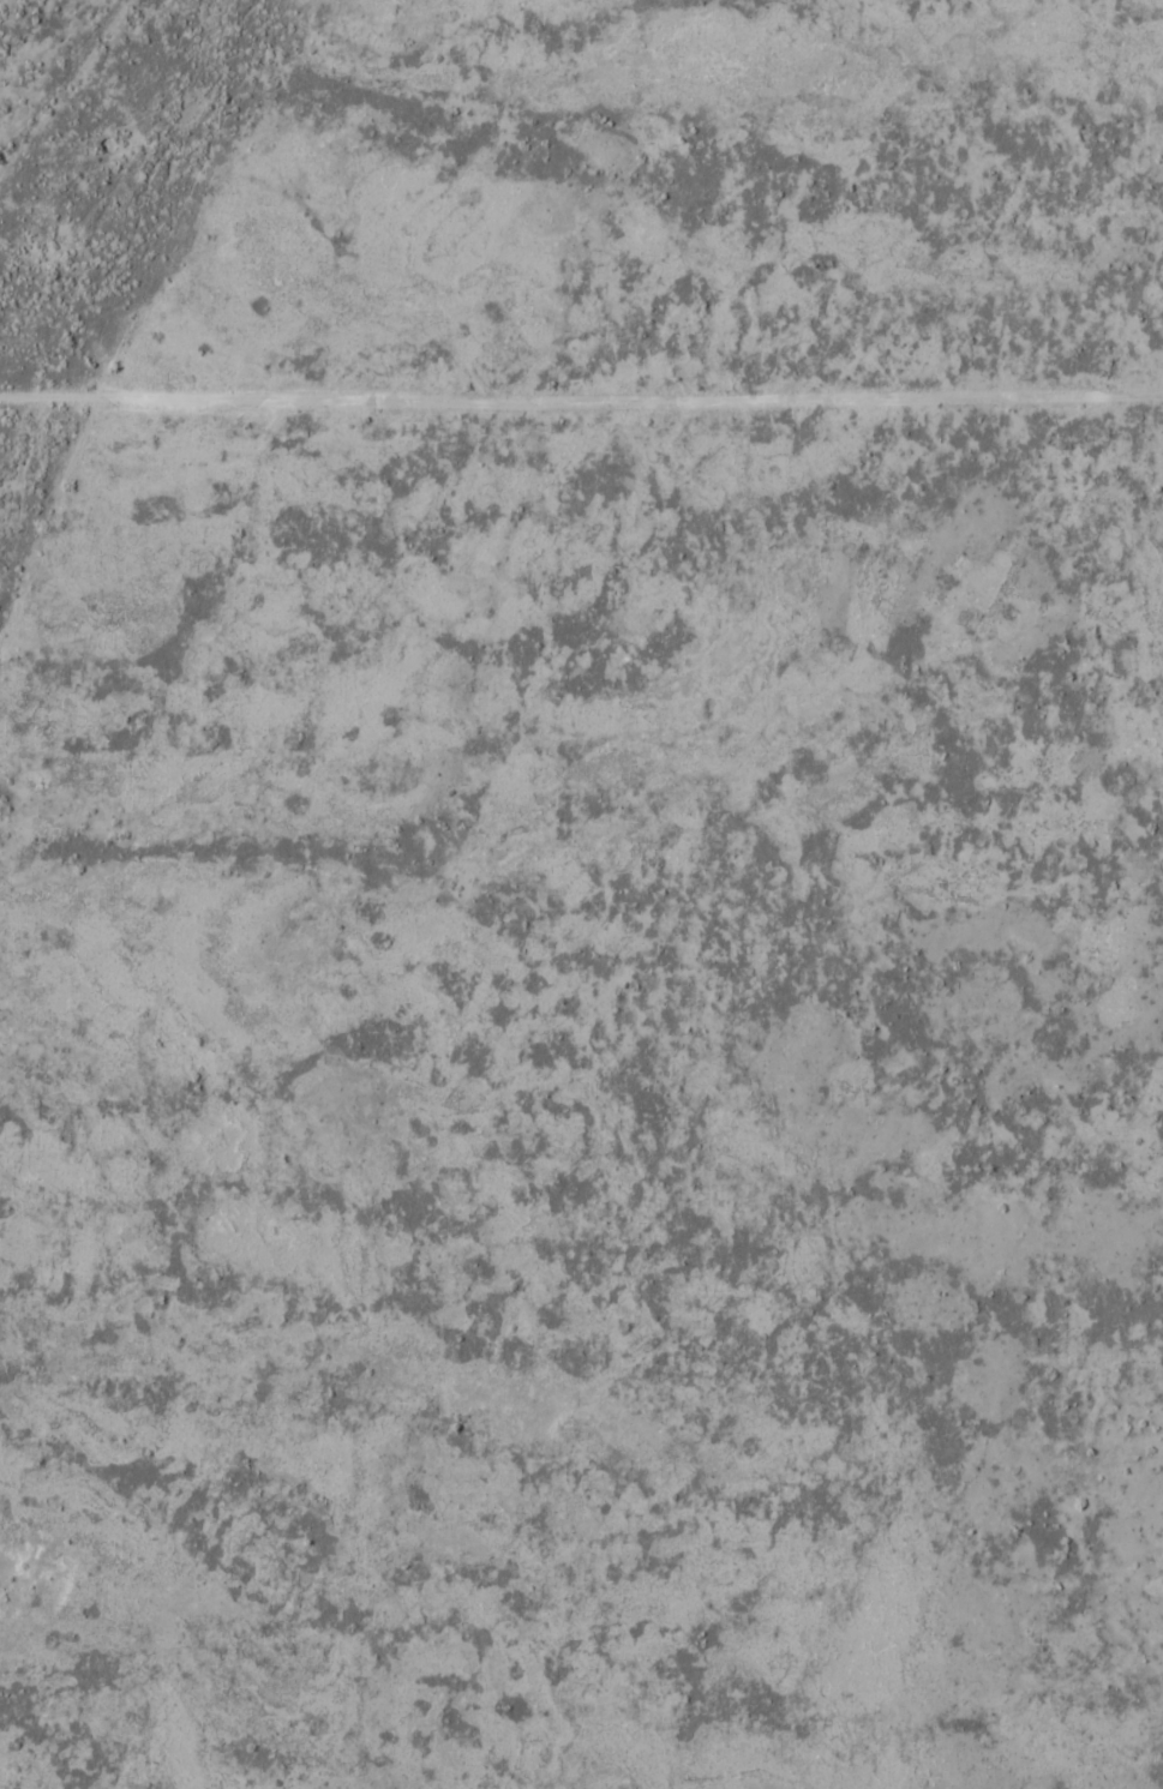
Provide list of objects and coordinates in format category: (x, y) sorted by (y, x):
road: (581, 398)

